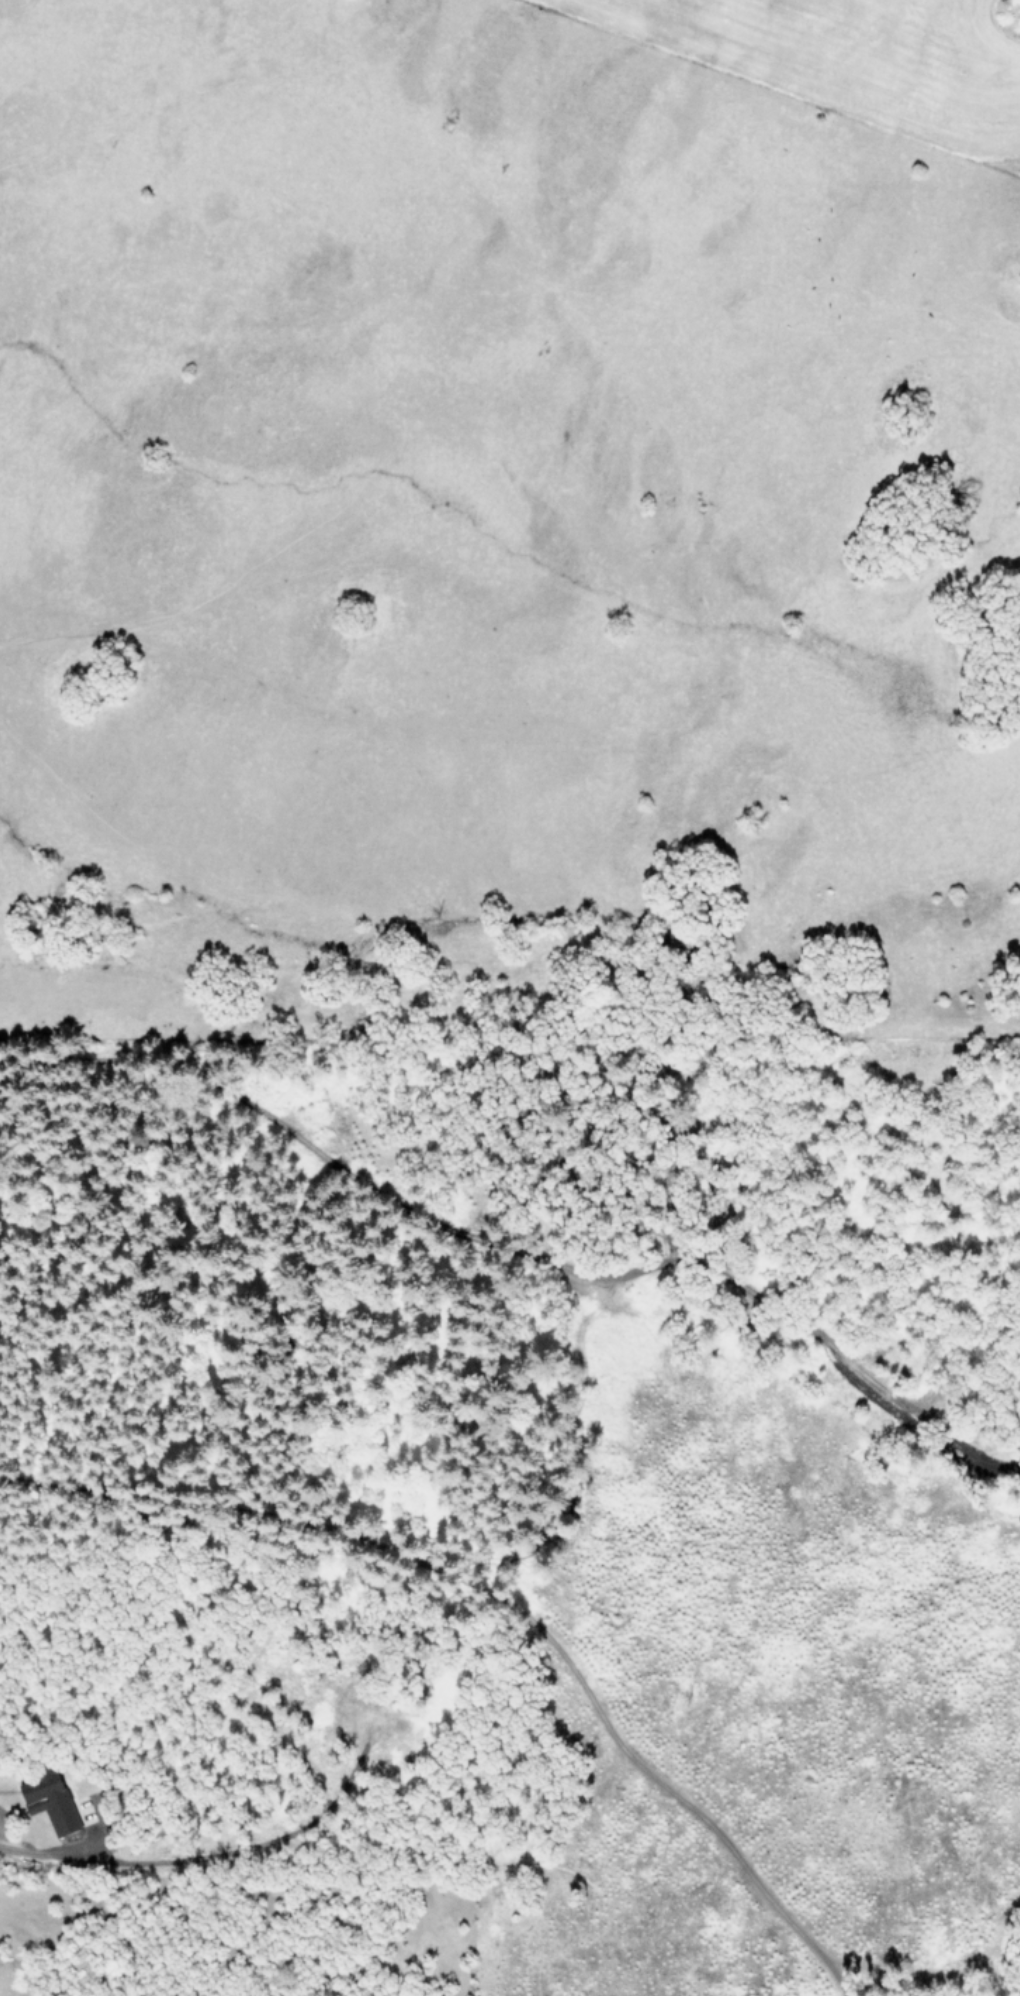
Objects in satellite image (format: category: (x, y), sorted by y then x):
crop: (457, 495)
building: (50, 1802)
road: (22, 1848)

